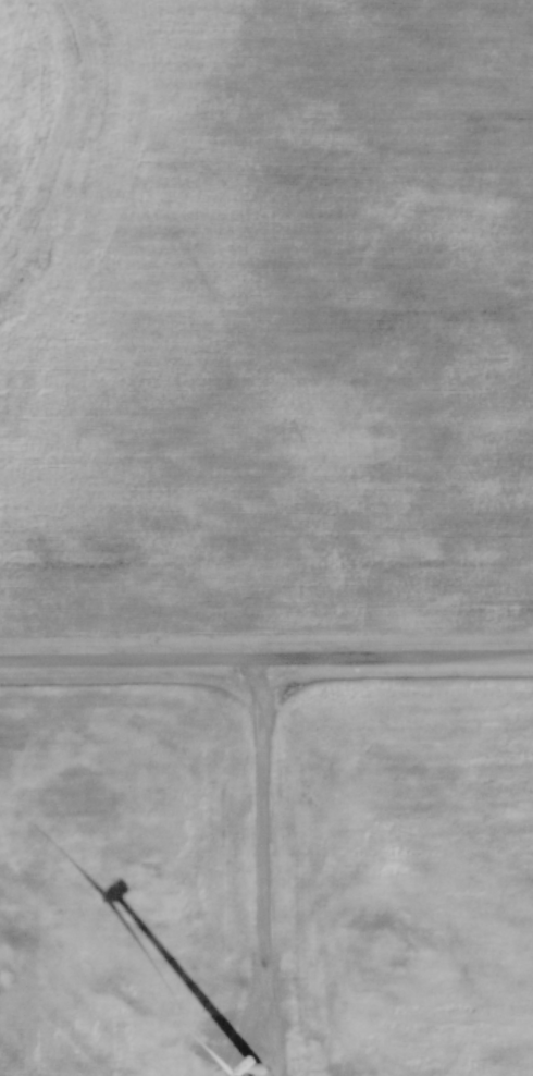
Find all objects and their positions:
road: (266, 656)
wind turbine: (252, 1062)

